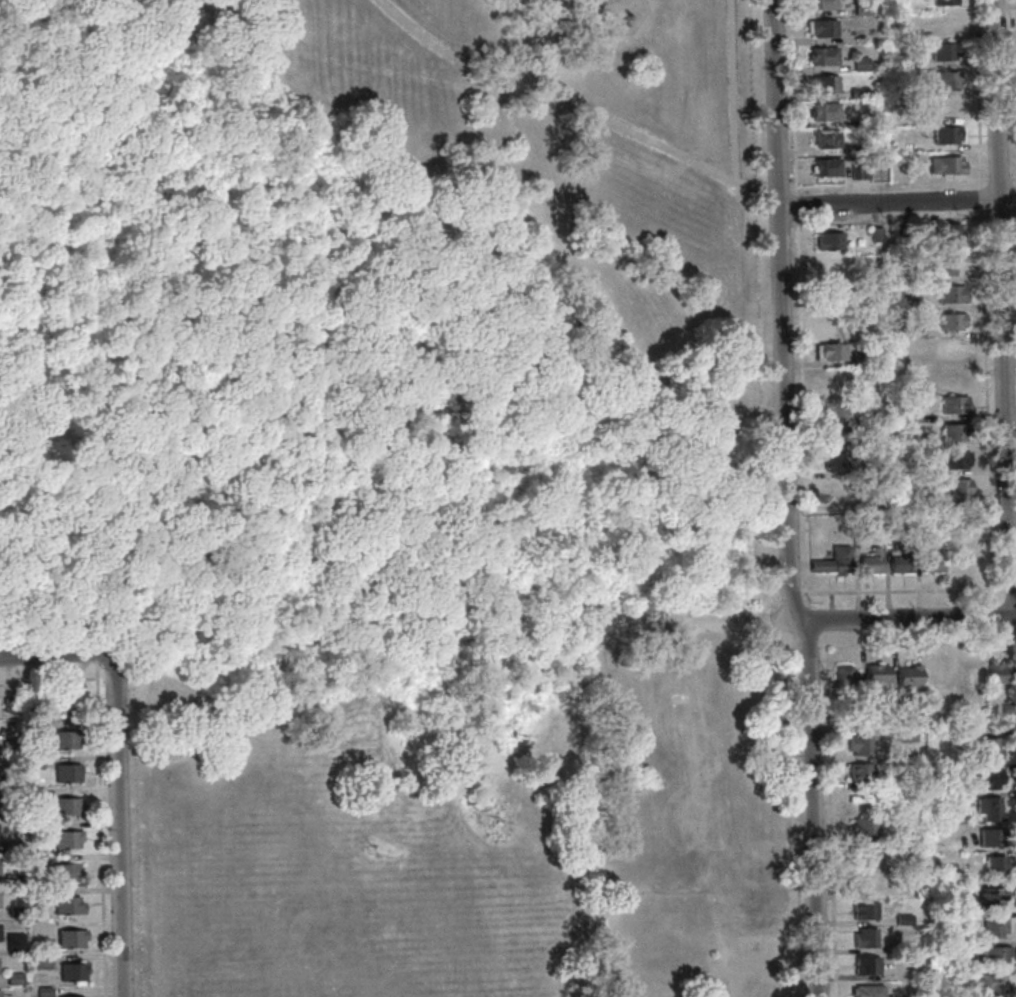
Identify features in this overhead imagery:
building: (945, 2)
building: (823, 4)
building: (863, 8)
road: (690, 13)
building: (943, 23)
building: (822, 27)
building: (917, 33)
building: (945, 51)
building: (822, 55)
building: (862, 64)
road: (1013, 74)
building: (946, 78)
building: (825, 83)
road: (733, 89)
building: (858, 91)
building: (907, 91)
road: (574, 101)
building: (946, 106)
building: (824, 111)
building: (949, 134)
building: (827, 138)
building: (947, 164)
building: (828, 167)
building: (860, 167)
road: (1012, 178)
road: (998, 179)
road: (888, 182)
road: (783, 186)
road: (897, 203)
road: (1013, 215)
road: (999, 216)
road: (883, 220)
building: (901, 233)
building: (954, 233)
building: (876, 234)
building: (829, 241)
building: (953, 264)
building: (952, 294)
road: (1001, 297)
road: (799, 303)
building: (911, 303)
road: (984, 320)
building: (951, 321)
building: (831, 324)
building: (916, 332)
building: (859, 333)
building: (950, 349)
building: (832, 350)
building: (860, 359)
building: (952, 376)
building: (833, 379)
building: (862, 389)
building: (954, 405)
building: (832, 408)
road: (60, 411)
building: (909, 415)
building: (869, 416)
road: (319, 425)
building: (954, 431)
building: (834, 435)
park: (373, 441)
building: (911, 443)
building: (955, 459)
building: (835, 462)
building: (835, 489)
building: (959, 489)
road: (786, 499)
building: (926, 500)
building: (858, 528)
building: (889, 528)
building: (964, 559)
building: (833, 560)
building: (931, 561)
building: (900, 562)
building: (870, 563)
road: (911, 590)
road: (772, 592)
road: (791, 592)
road: (805, 592)
road: (772, 600)
road: (905, 618)
road: (817, 619)
road: (773, 620)
road: (718, 622)
road: (648, 631)
road: (773, 639)
road: (917, 642)
road: (1015, 643)
road: (807, 645)
road: (725, 647)
road: (58, 653)
building: (999, 673)
building: (876, 674)
building: (971, 674)
building: (908, 676)
building: (938, 676)
building: (844, 677)
road: (48, 678)
building: (30, 694)
building: (63, 699)
building: (10, 704)
building: (897, 708)
building: (866, 709)
building: (1007, 710)
building: (848, 712)
building: (31, 728)
building: (907, 736)
building: (65, 739)
building: (859, 745)
building: (9, 746)
building: (989, 749)
building: (33, 761)
building: (698, 765)
building: (949, 770)
building: (860, 772)
building: (67, 774)
building: (9, 778)
building: (989, 779)
building: (34, 792)
building: (7, 796)
building: (861, 800)
building: (67, 807)
building: (989, 809)
road: (830, 814)
road: (795, 821)
road: (100, 823)
road: (595, 825)
road: (118, 827)
building: (864, 827)
building: (990, 837)
building: (67, 838)
building: (12, 846)
building: (863, 855)
building: (37, 858)
building: (904, 859)
building: (995, 867)
building: (677, 868)
building: (65, 872)
building: (12, 879)
building: (867, 882)
building: (943, 888)
building: (37, 892)
building: (991, 896)
building: (0, 899)
building: (741, 900)
building: (67, 906)
building: (864, 910)
building: (16, 912)
building: (964, 917)
building: (903, 919)
building: (993, 927)
building: (70, 938)
building: (865, 938)
building: (14, 941)
building: (960, 951)
building: (993, 955)
building: (42, 961)
building: (866, 965)
building: (71, 972)
building: (14, 978)
building: (993, 984)
building: (867, 991)
building: (43, 992)
building: (0, 993)
building: (74, 996)

